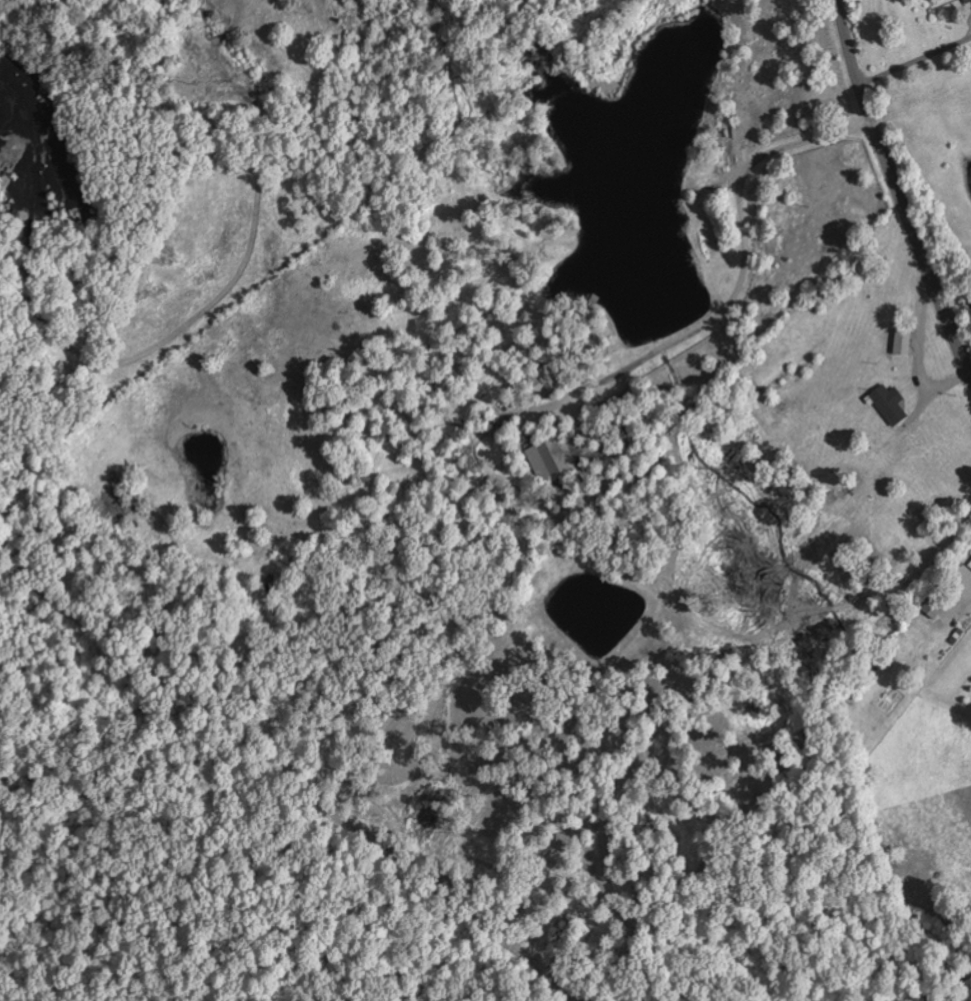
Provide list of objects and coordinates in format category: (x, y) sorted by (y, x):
road: (897, 189)
building: (903, 341)
building: (545, 382)
building: (889, 403)
building: (552, 459)
building: (970, 563)
building: (935, 604)

